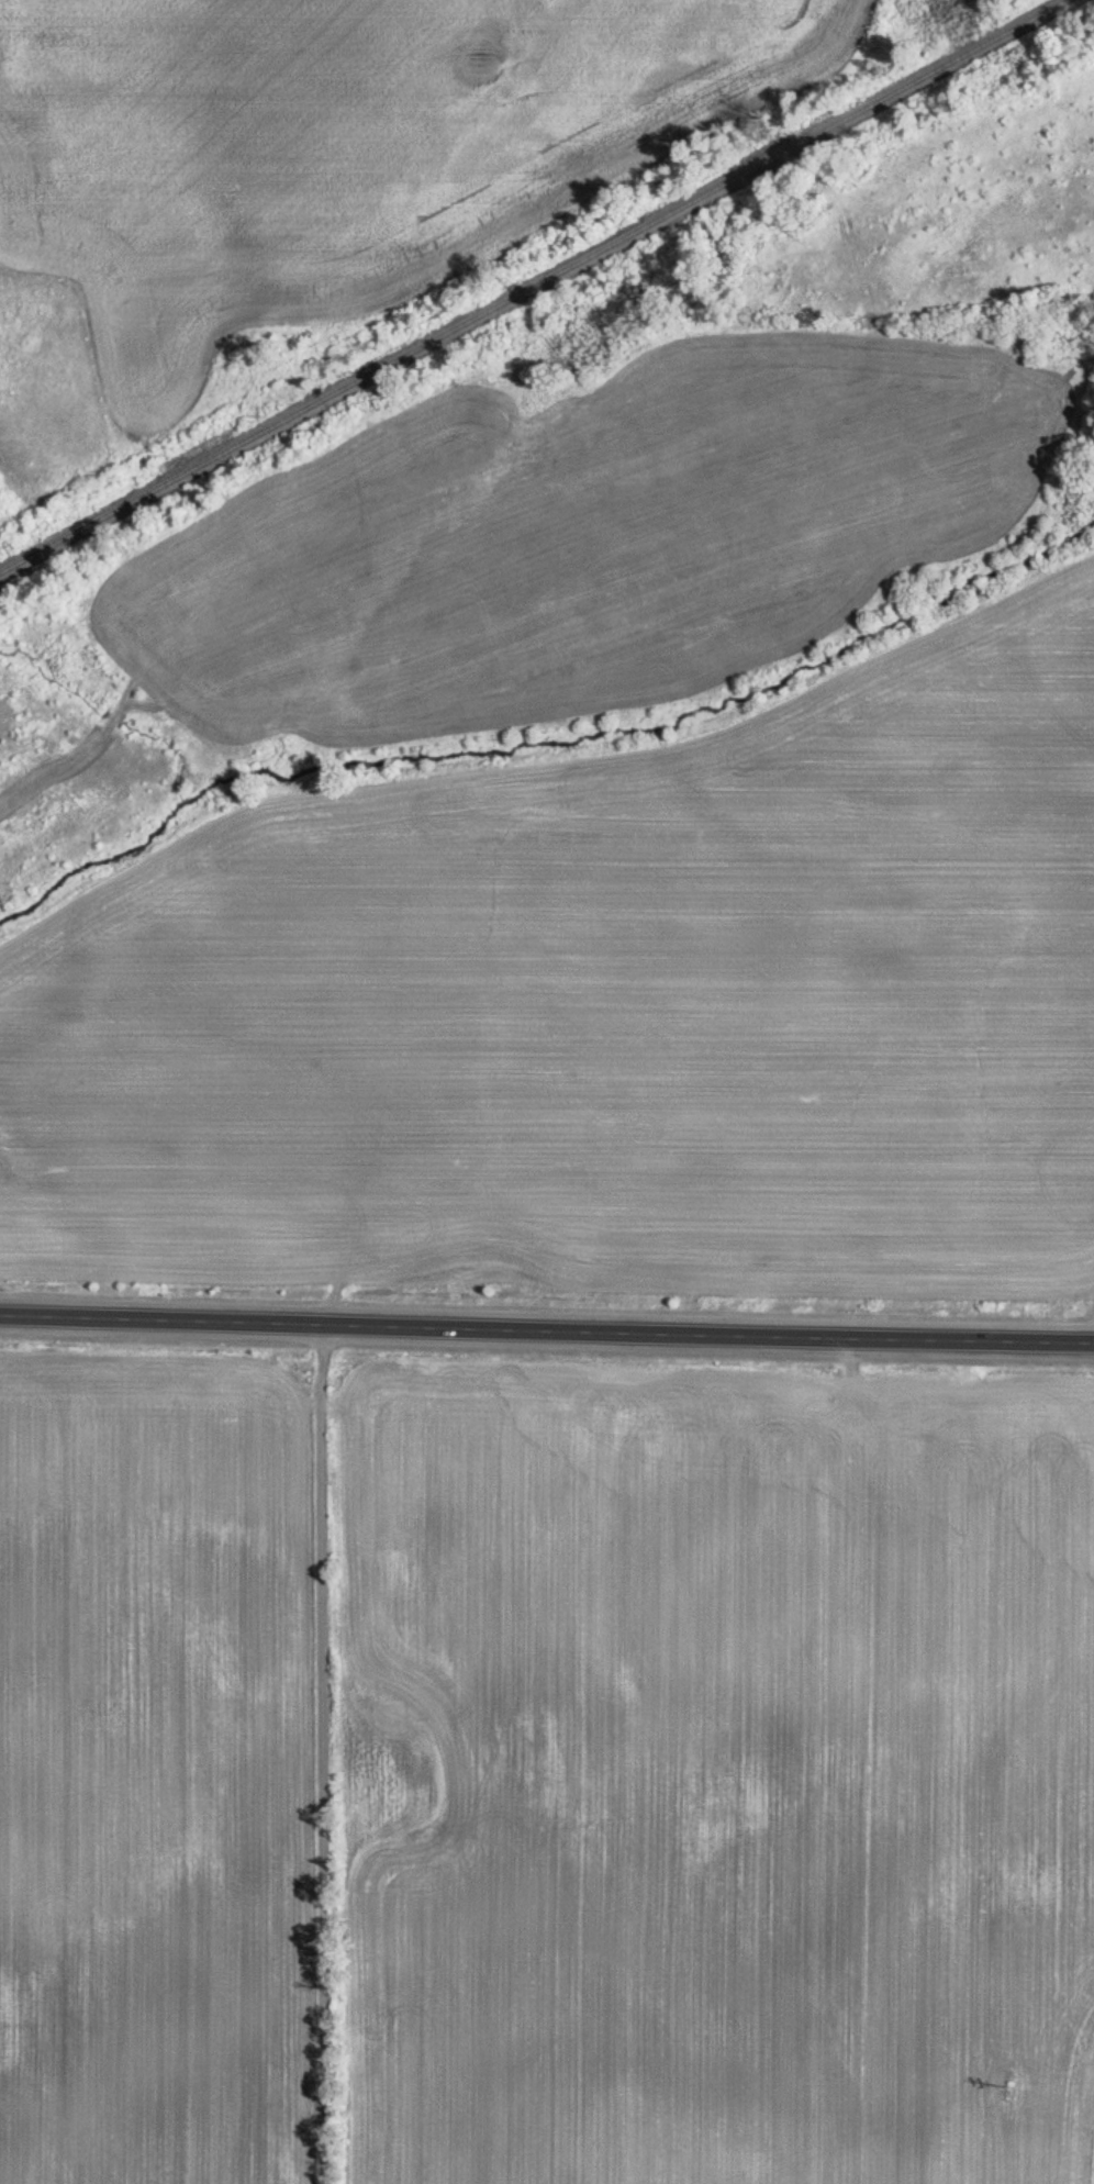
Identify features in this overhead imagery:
railway: (536, 288)
road: (547, 1327)
road: (322, 1752)

